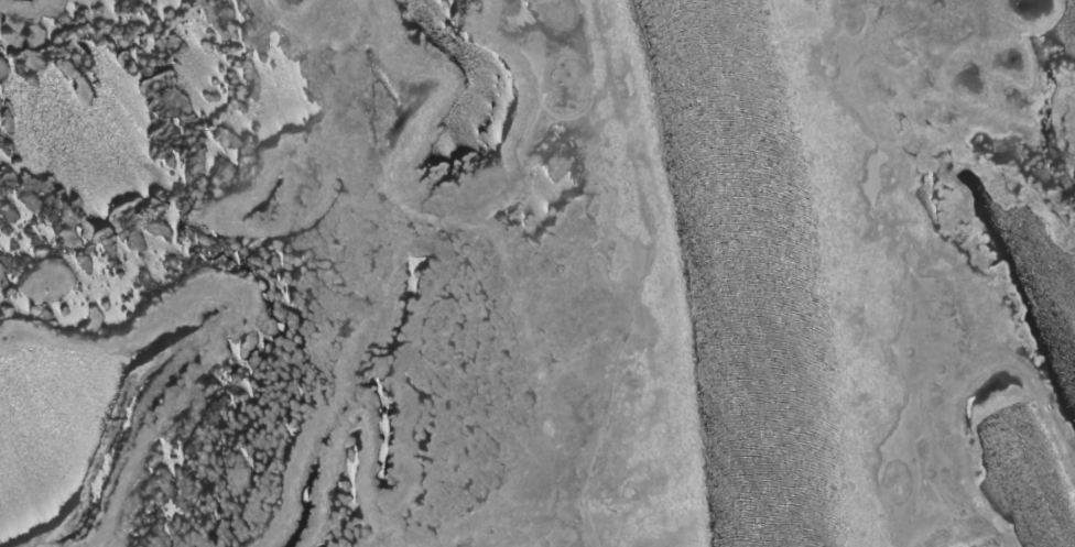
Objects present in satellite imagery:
river: (779, 266)

